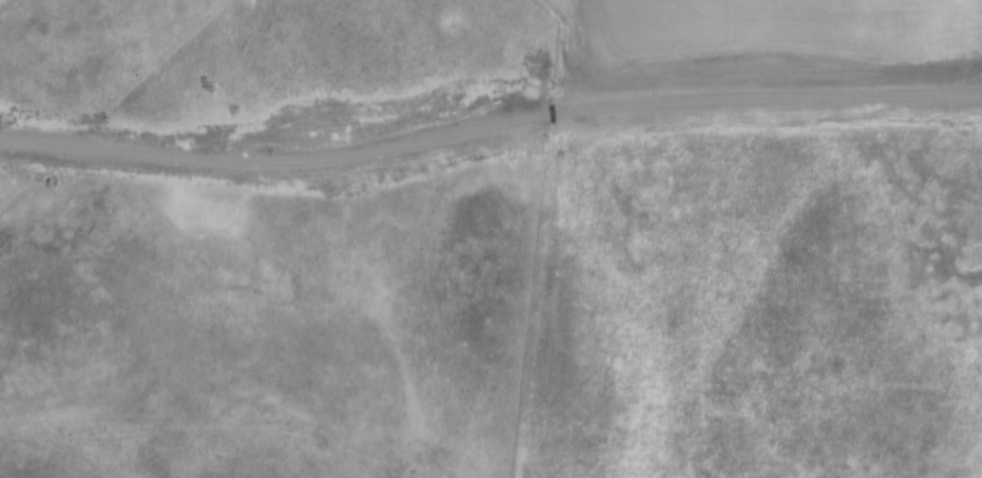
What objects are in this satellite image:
road: (491, 135)

